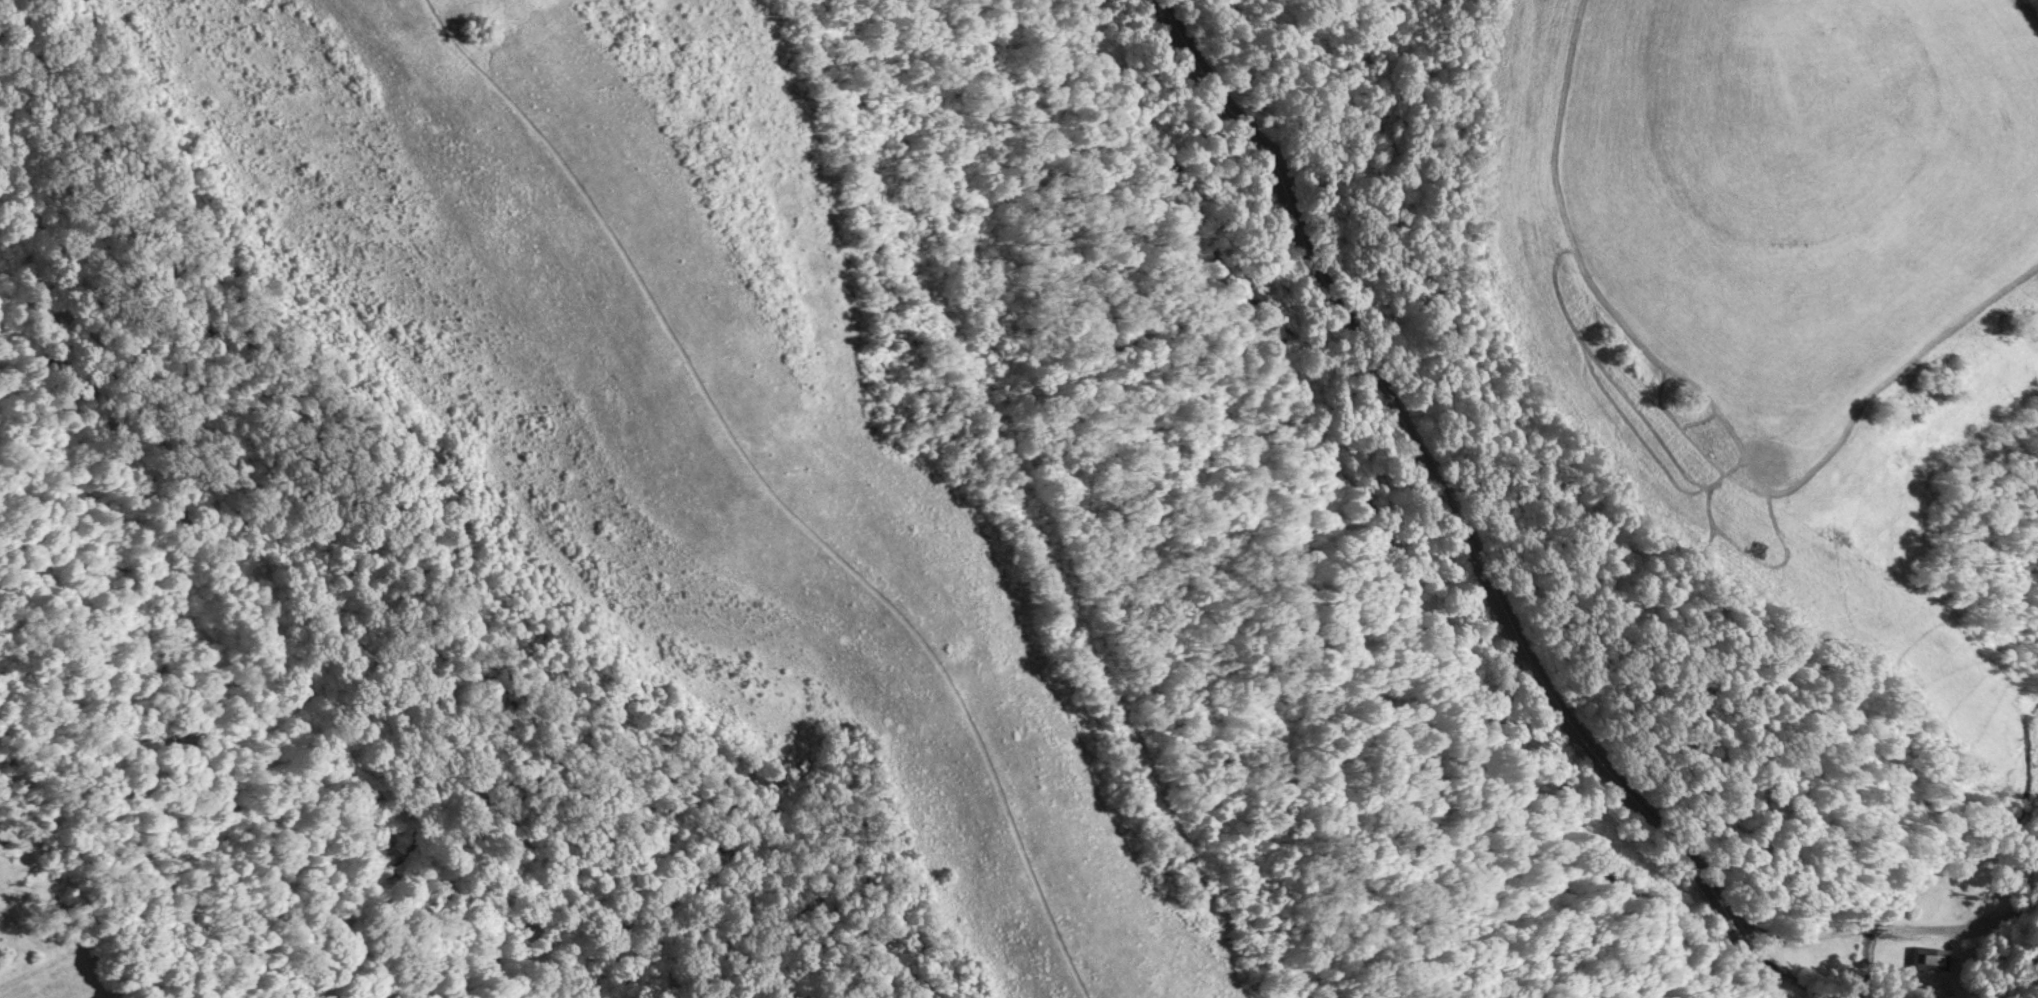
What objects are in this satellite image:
road: (1446, 513)
road: (1887, 925)
building: (1932, 959)

